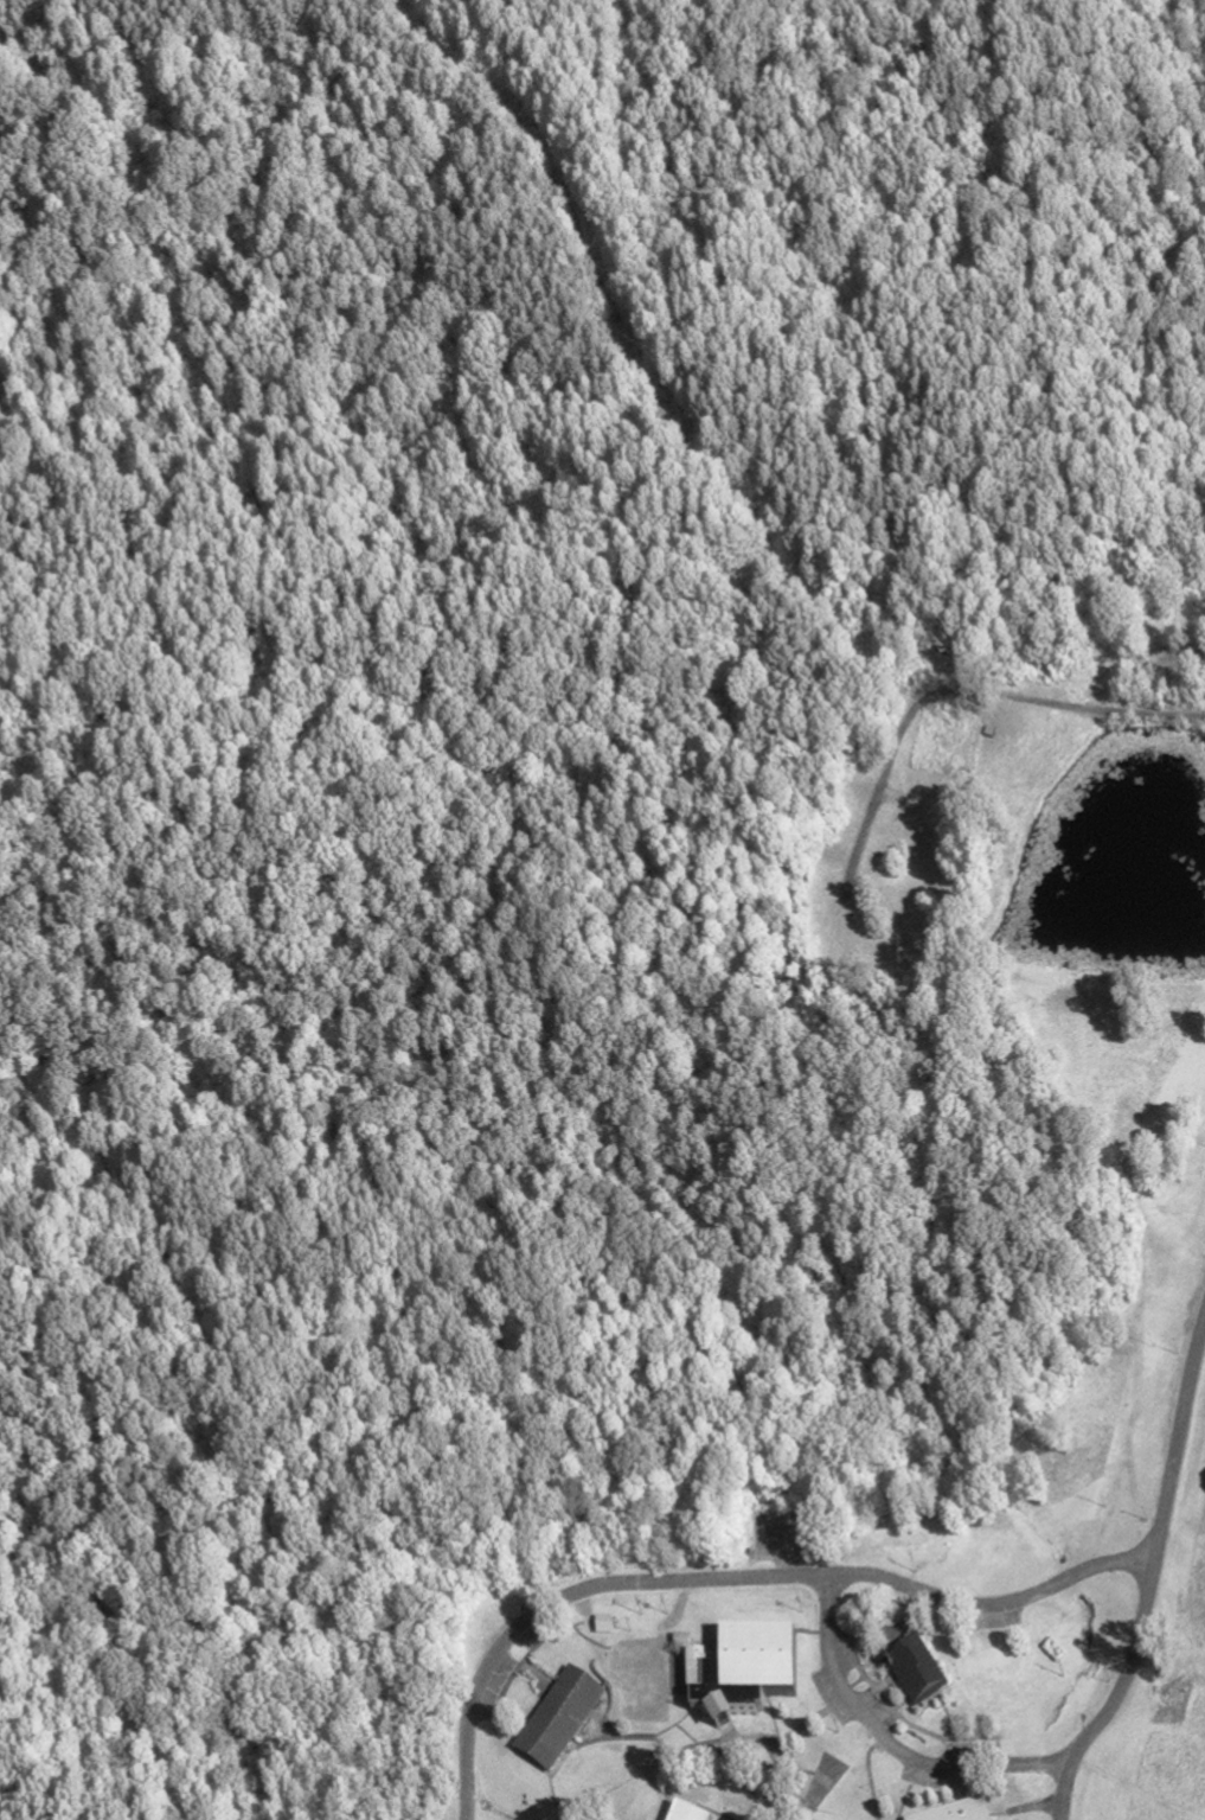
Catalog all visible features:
road: (639, 362)
road: (956, 691)
road: (1175, 1425)
road: (569, 1599)
road: (911, 1616)
road: (788, 1631)
road: (514, 1673)
road: (539, 1675)
building: (745, 1675)
building: (921, 1675)
road: (852, 1703)
road: (949, 1718)
parking lot: (891, 1719)
building: (562, 1720)
road: (908, 1723)
road: (603, 1724)
road: (732, 1732)
road: (778, 1743)
road: (774, 1750)
road: (674, 1755)
road: (870, 1763)
road: (963, 1786)
road: (1064, 1788)
road: (910, 1790)
road: (777, 1807)
road: (1036, 1807)
road: (711, 1812)
building: (688, 1814)
building: (967, 1814)

